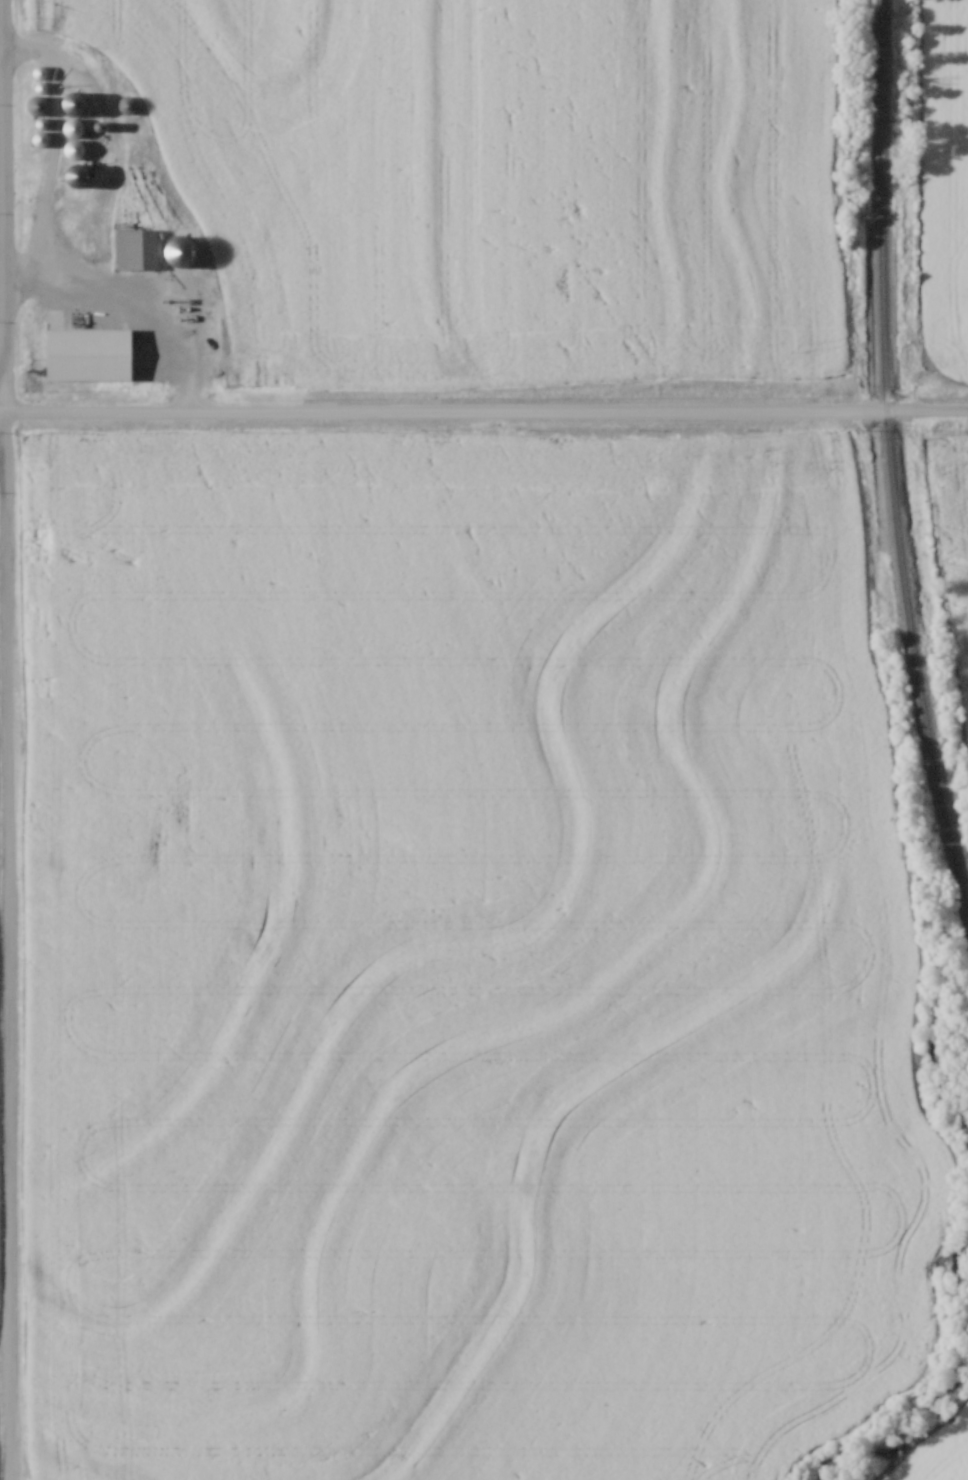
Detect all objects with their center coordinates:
building: (41, 103)
building: (131, 103)
building: (76, 135)
road: (4, 171)
building: (82, 173)
building: (138, 247)
road: (78, 262)
road: (2, 356)
road: (484, 407)
railway: (890, 459)
road: (9, 941)

